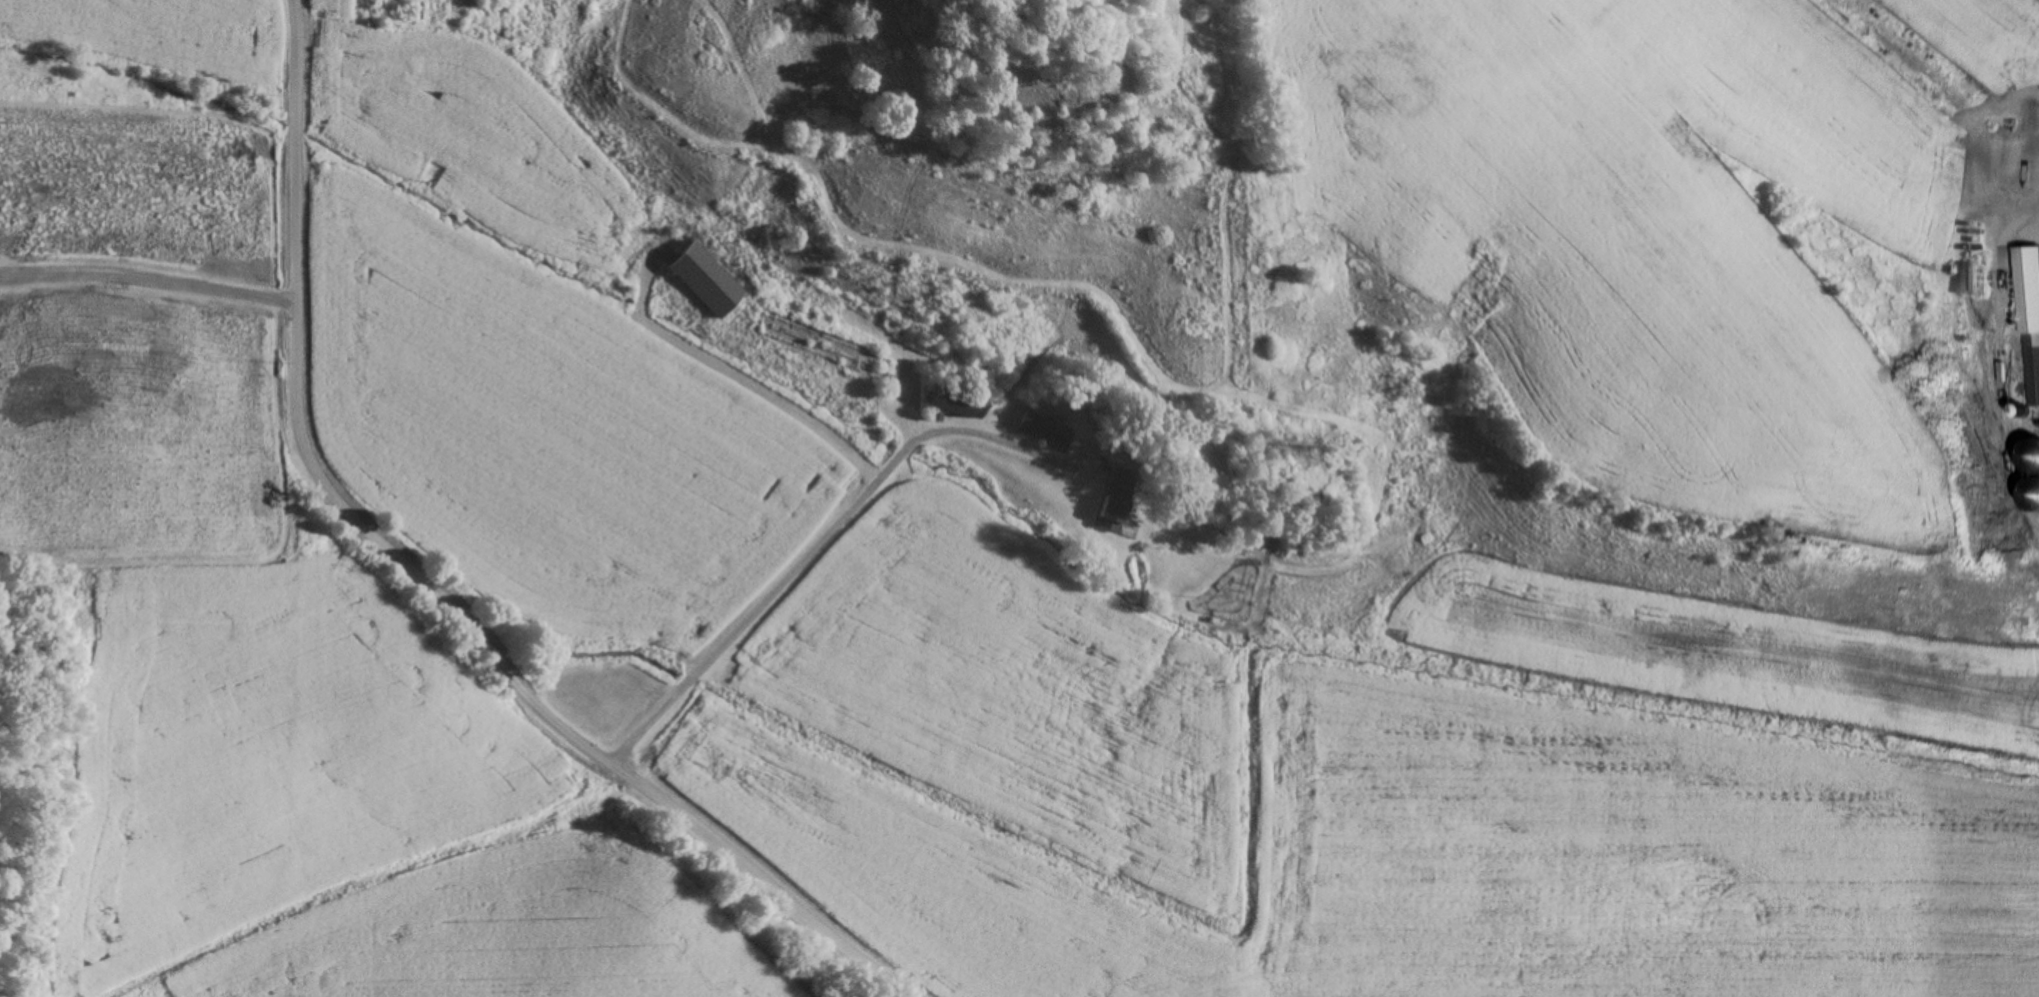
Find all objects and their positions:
building: (501, 23)
road: (147, 275)
building: (704, 280)
building: (2031, 329)
building: (818, 345)
building: (955, 400)
building: (1045, 431)
building: (1116, 501)
road: (832, 529)
road: (431, 591)

